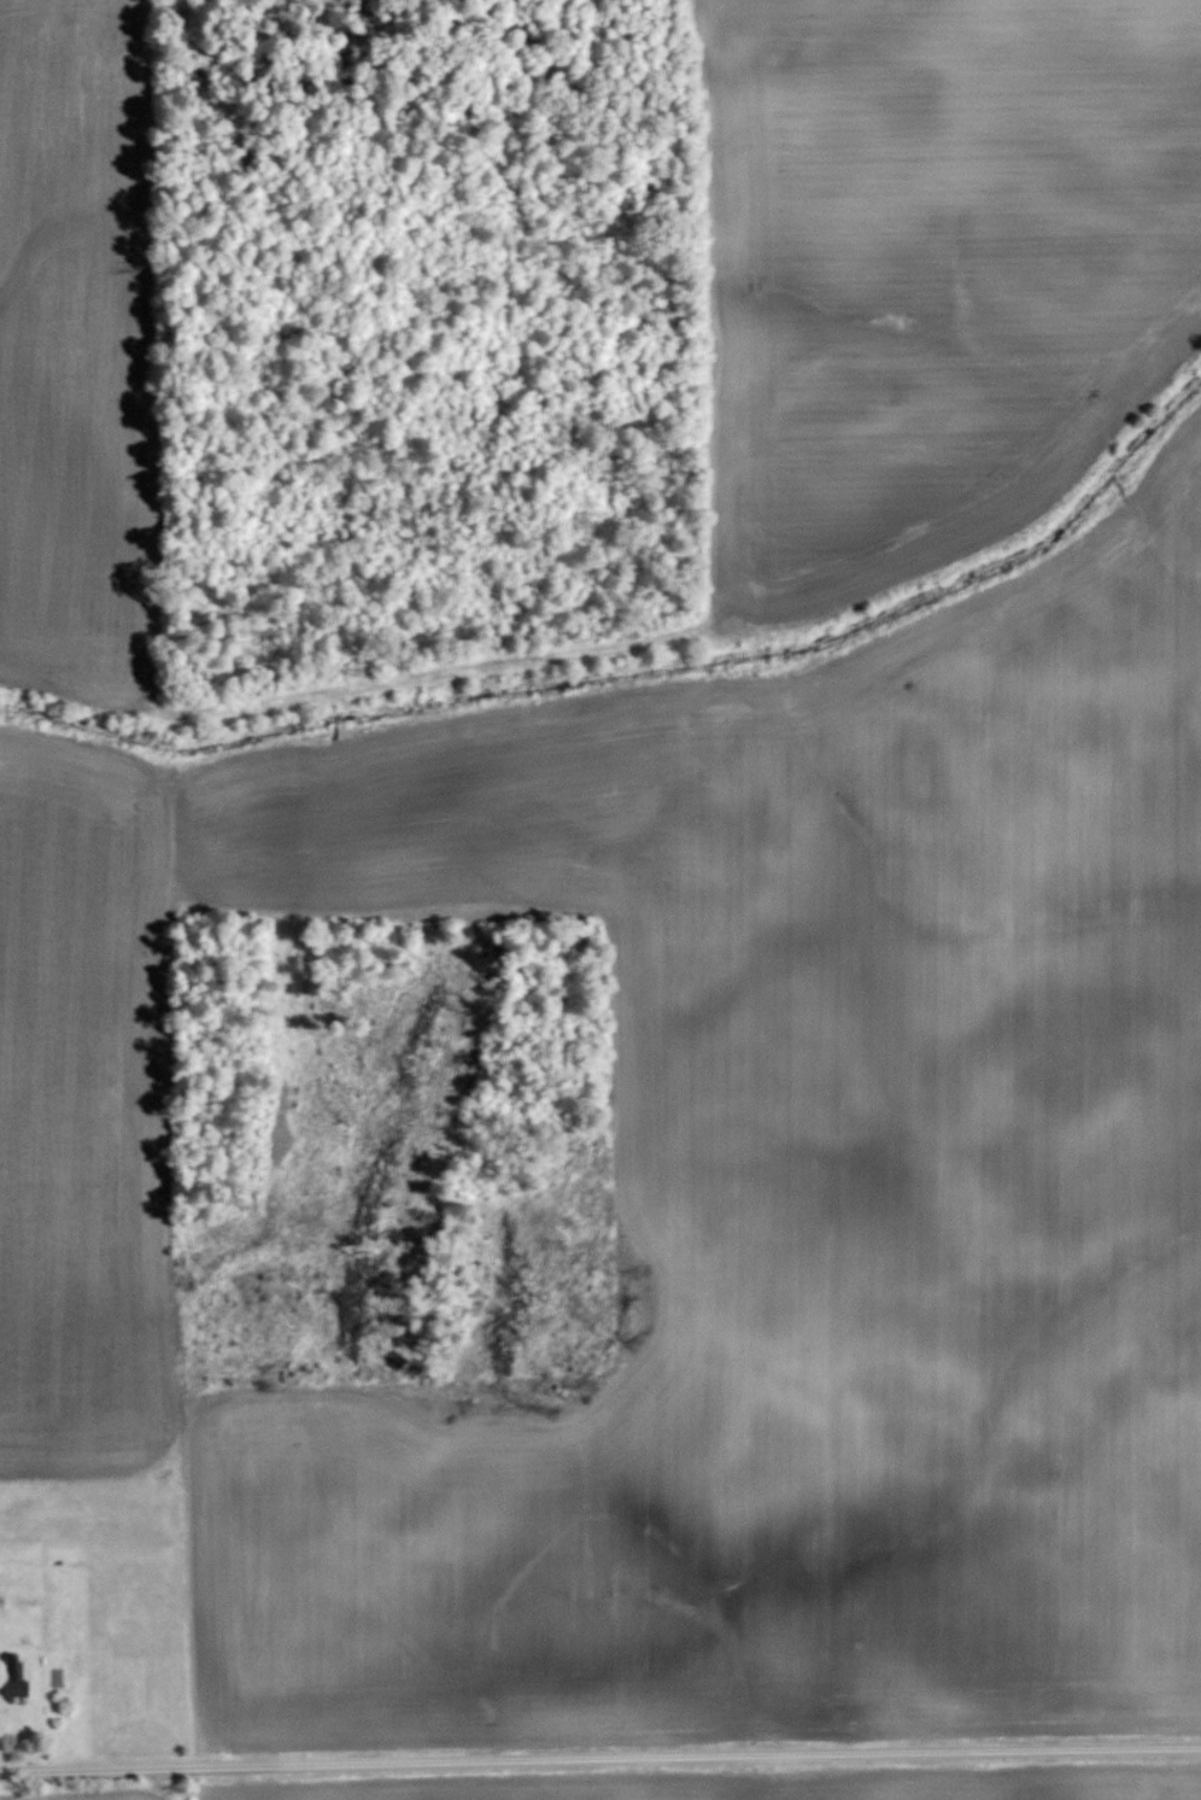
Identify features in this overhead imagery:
building: (13, 1676)
road: (600, 1759)

